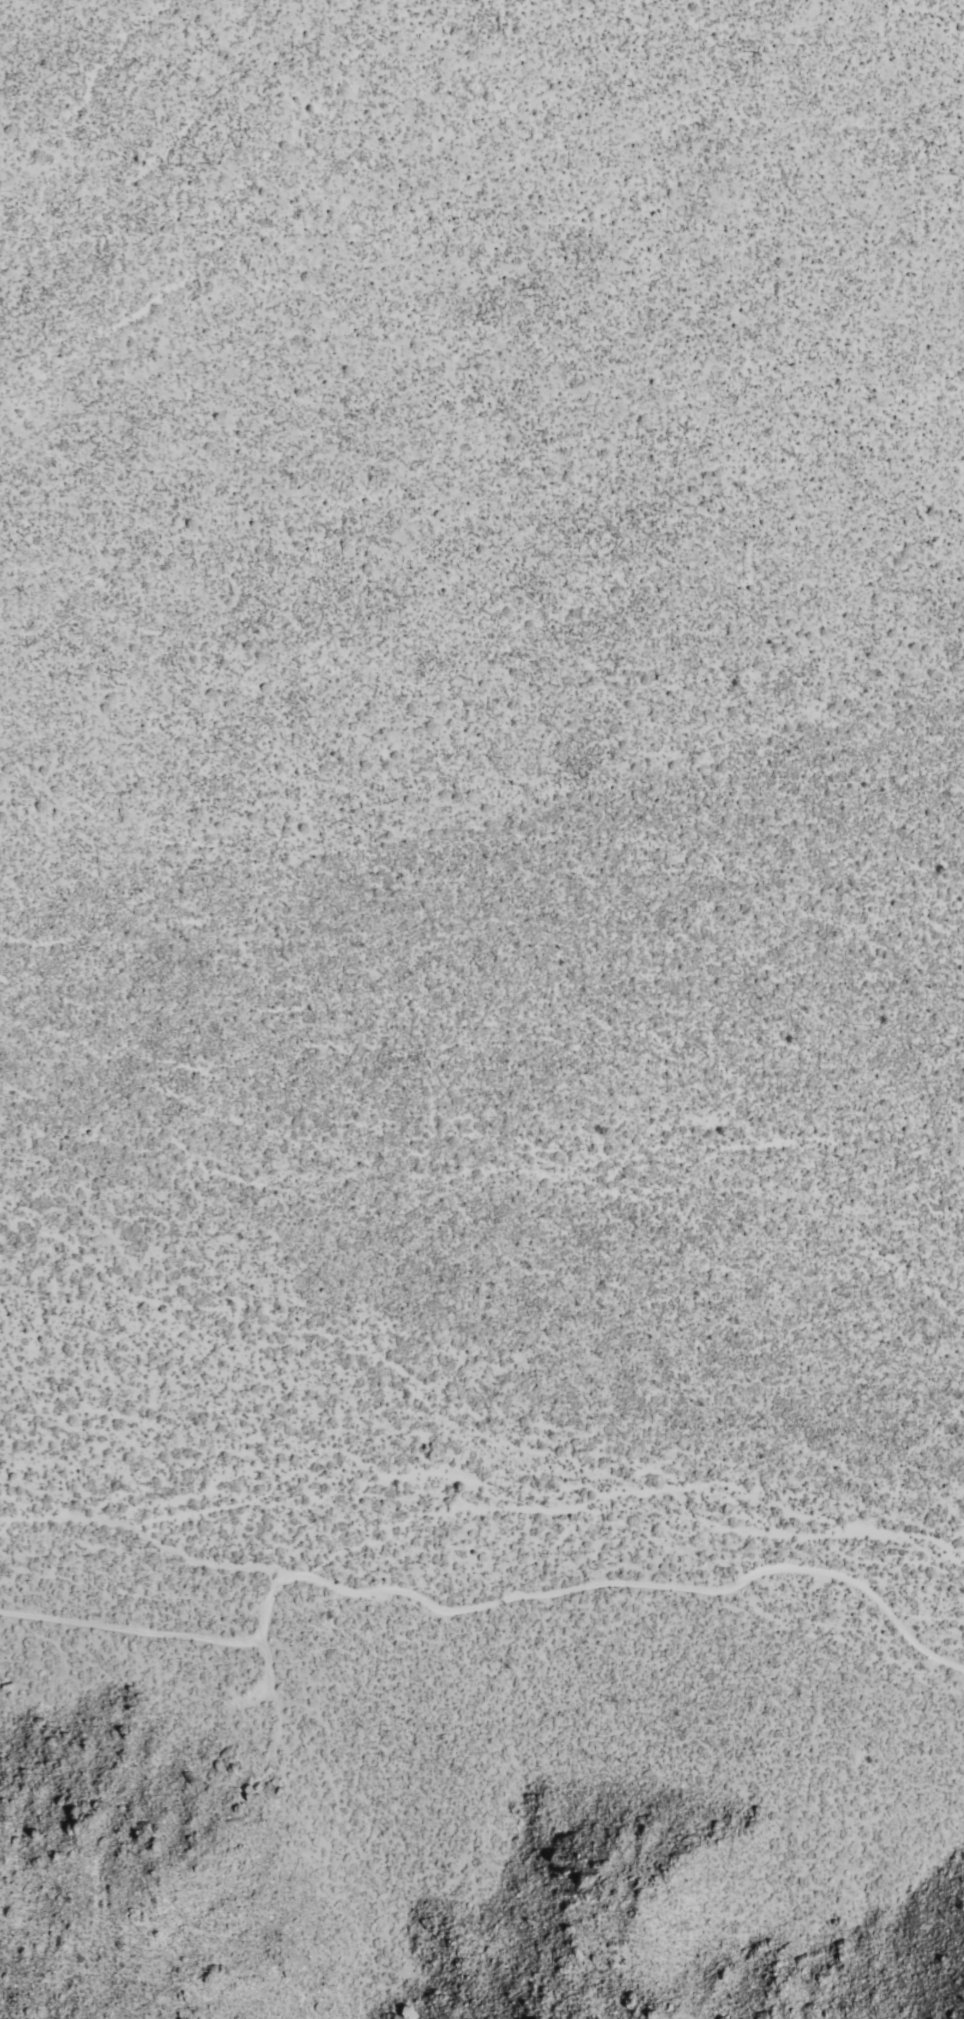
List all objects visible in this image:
road: (478, 1603)

